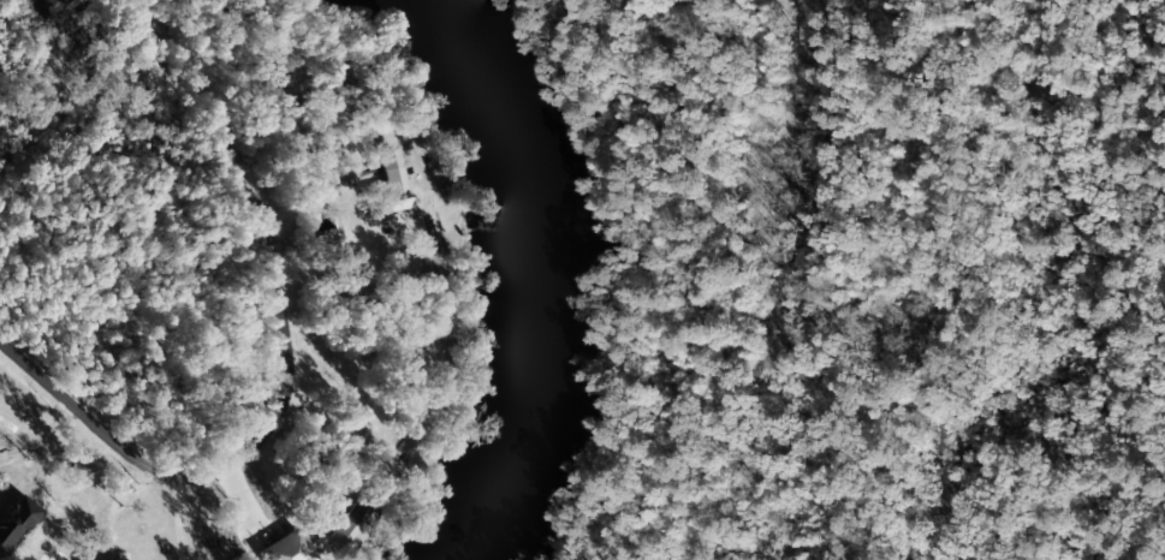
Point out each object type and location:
building: (387, 185)
river: (542, 278)
road: (286, 282)
road: (66, 386)
building: (14, 522)
building: (349, 525)
building: (284, 548)

